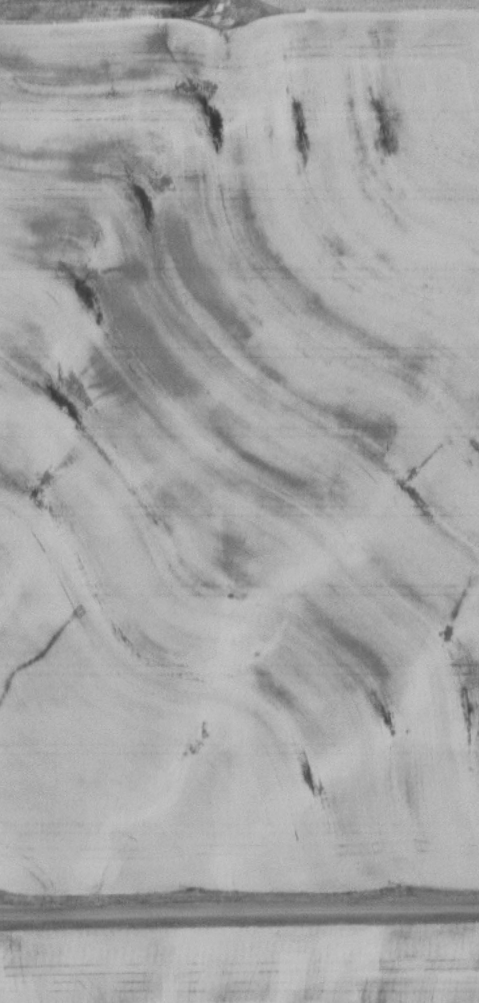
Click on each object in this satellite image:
road: (239, 909)

